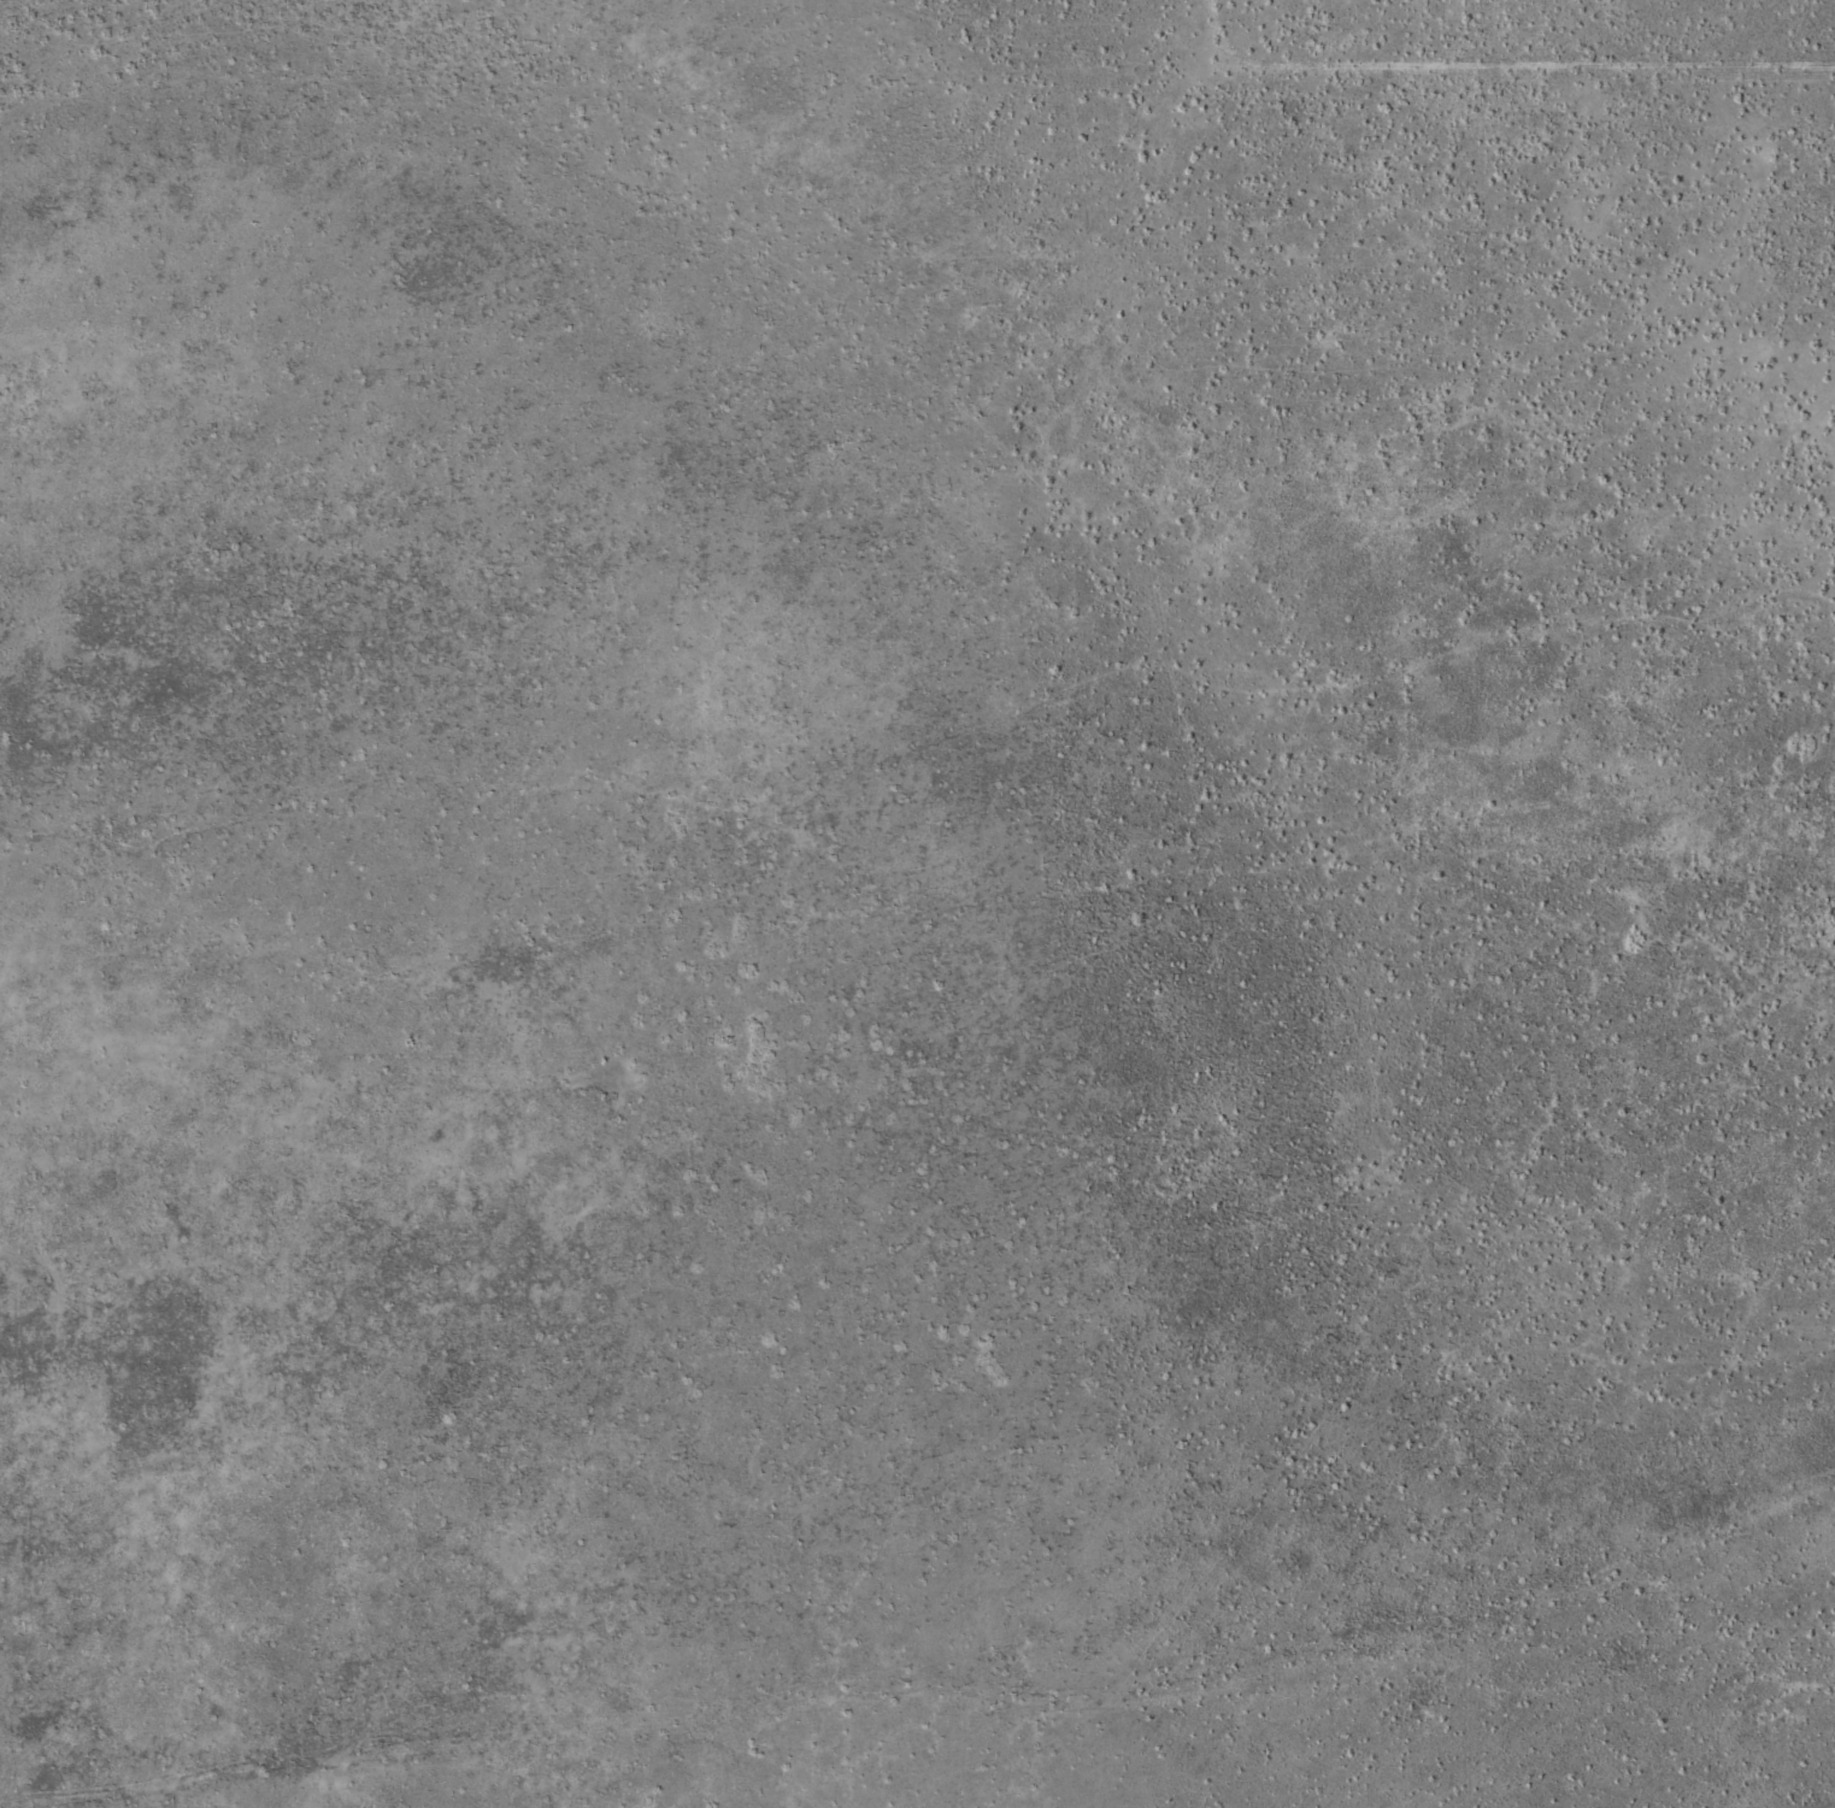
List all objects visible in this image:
road: (1517, 28)
river: (1201, 629)
road: (648, 741)

